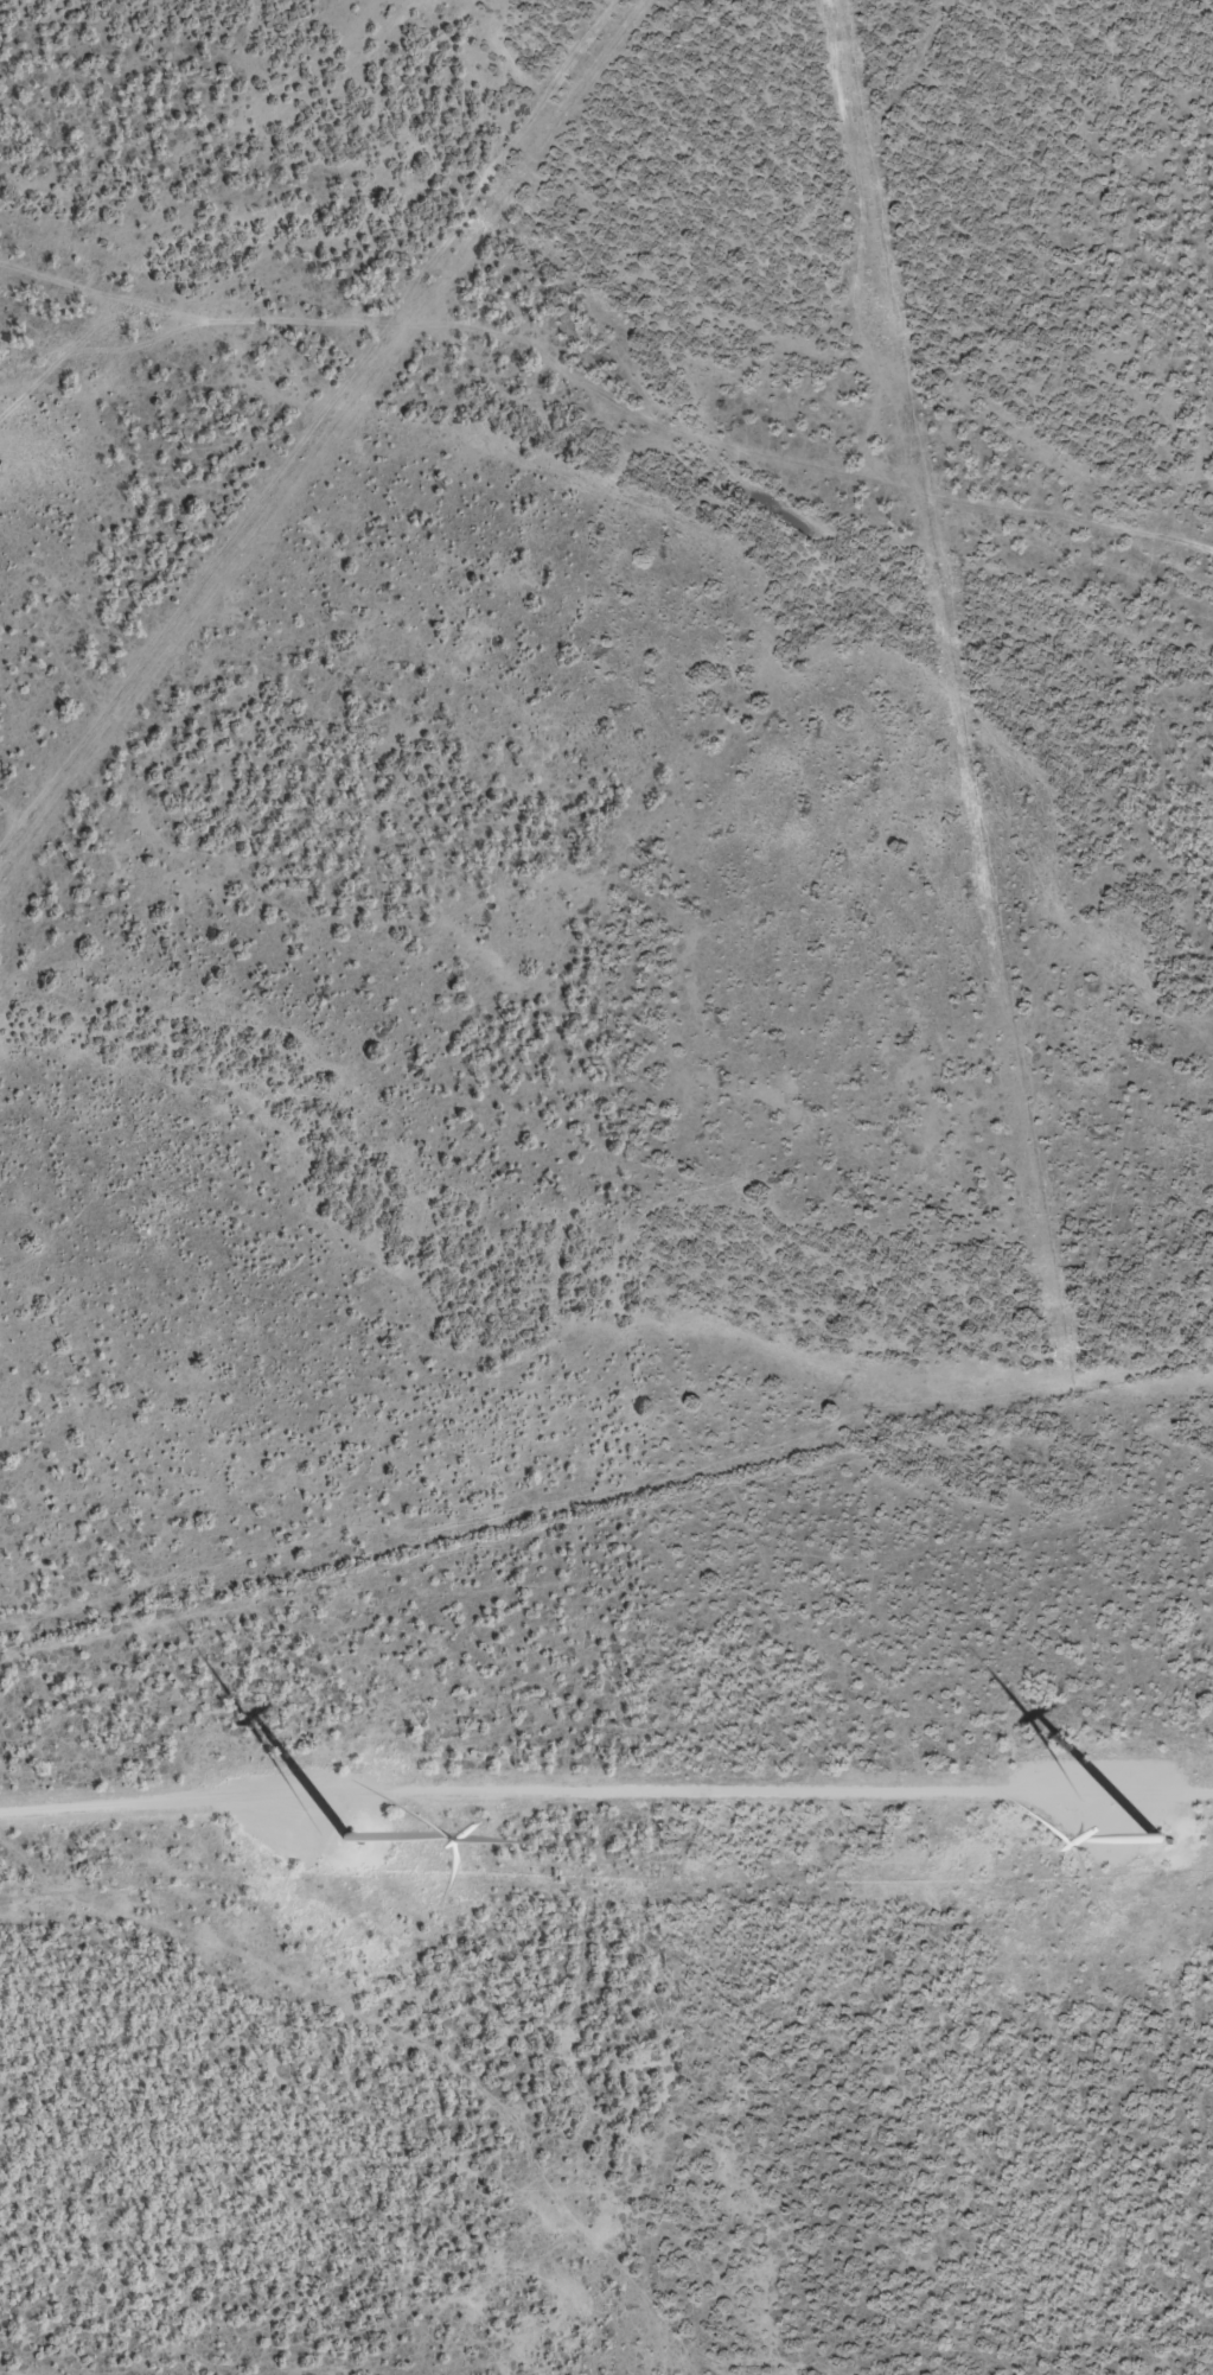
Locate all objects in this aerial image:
road: (651, 442)
road: (187, 734)
wind turbine: (1166, 1822)
wind turbine: (353, 1839)

